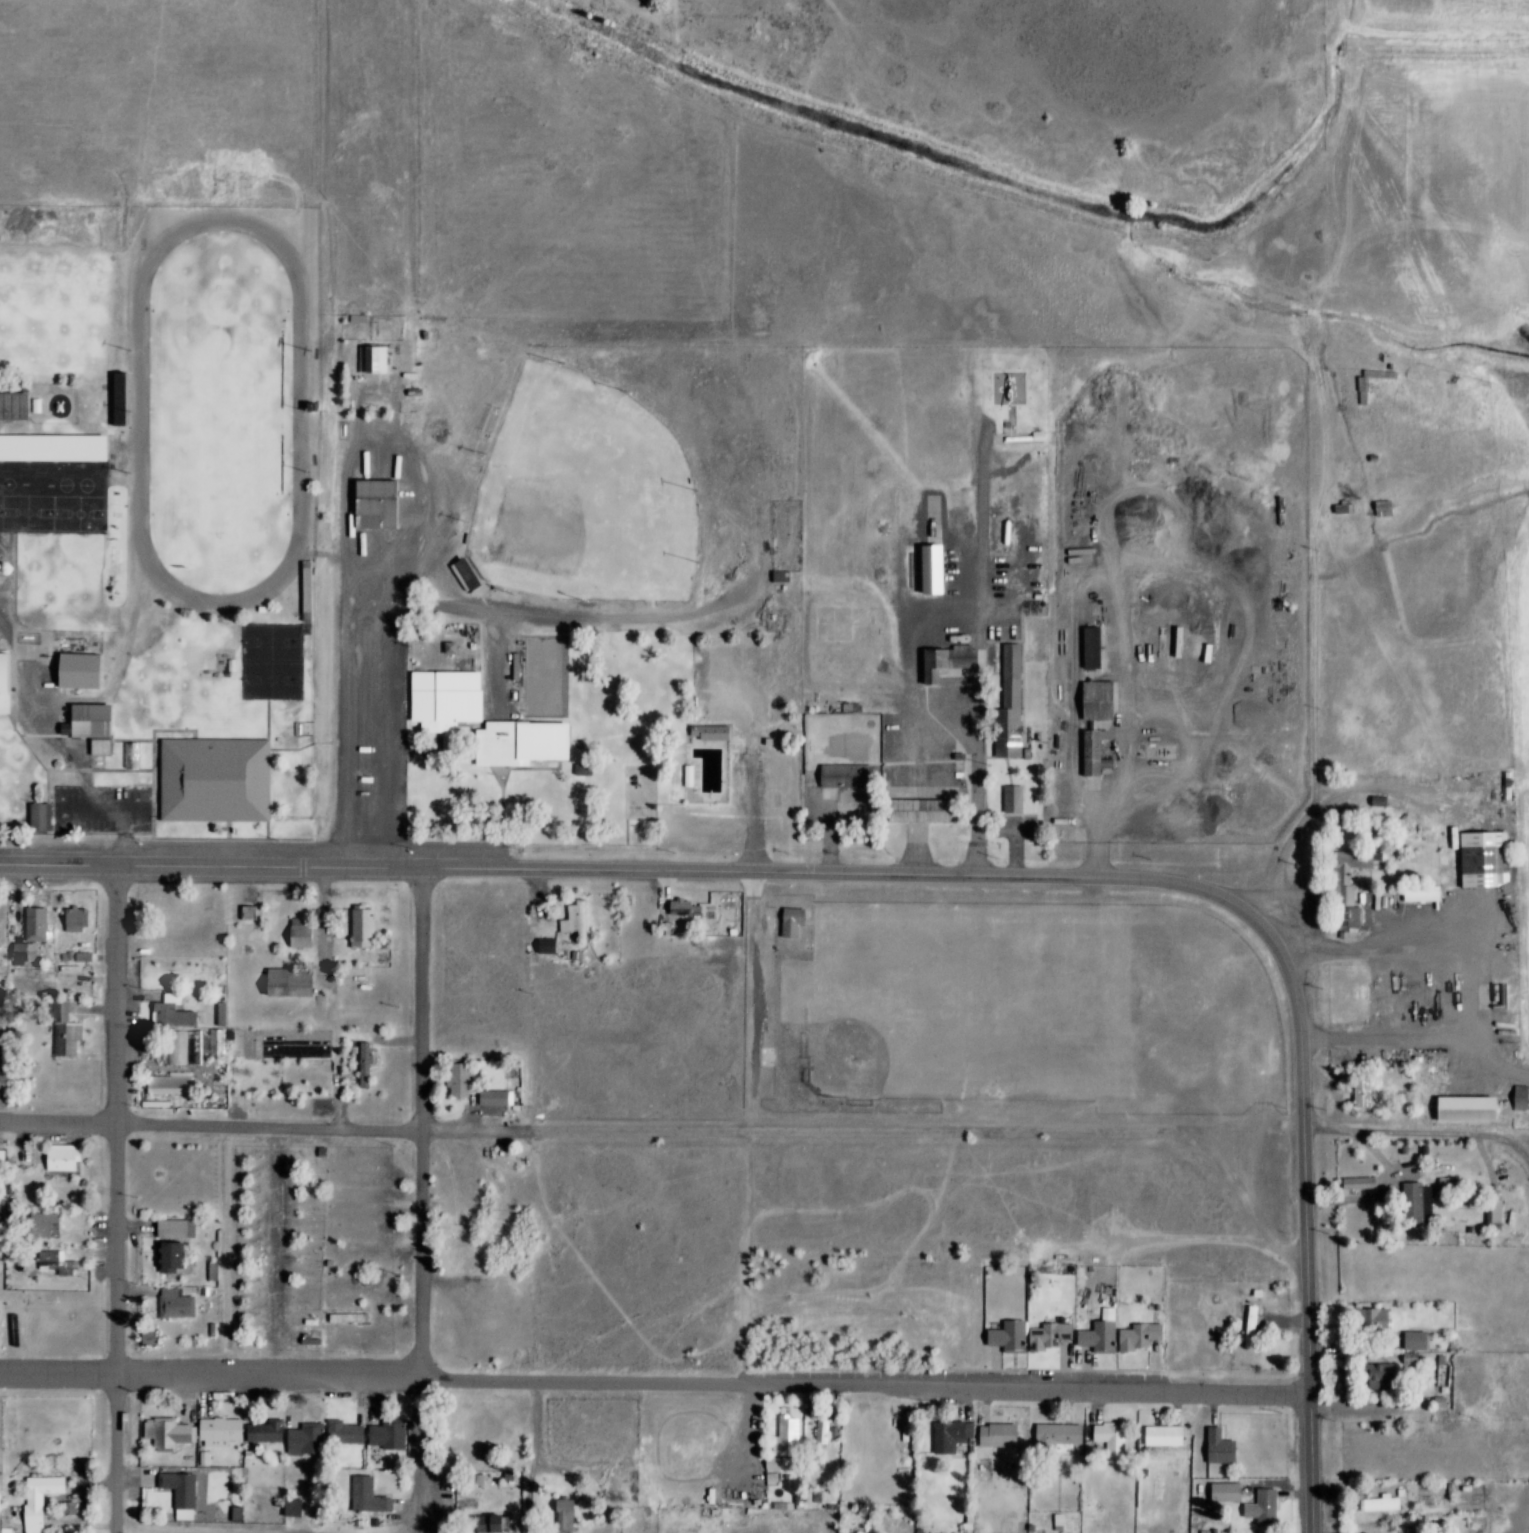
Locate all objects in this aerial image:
crop: (1442, 194)
building: (370, 318)
building: (383, 358)
helipad: (1020, 388)
building: (1362, 392)
building: (1374, 392)
building: (130, 399)
building: (117, 400)
building: (19, 406)
building: (47, 406)
park: (234, 411)
track: (234, 412)
road: (19, 420)
building: (1037, 438)
building: (134, 442)
building: (58, 448)
park: (619, 457)
building: (1385, 458)
park: (598, 497)
building: (384, 504)
building: (1395, 506)
building: (1354, 508)
park: (40, 512)
park: (92, 513)
building: (1, 562)
road: (1327, 565)
building: (928, 570)
building: (942, 570)
building: (475, 573)
building: (463, 574)
building: (790, 575)
building: (779, 577)
building: (316, 590)
road: (560, 615)
helipad: (838, 625)
park: (284, 644)
building: (1100, 646)
building: (1088, 648)
road: (995, 650)
building: (959, 664)
road: (130, 666)
building: (91, 670)
park: (557, 675)
park: (284, 682)
road: (1138, 682)
building: (10, 684)
building: (453, 699)
road: (46, 701)
road: (25, 704)
building: (1019, 705)
building: (1007, 706)
road: (374, 718)
building: (1107, 721)
building: (103, 725)
building: (708, 733)
road: (101, 737)
building: (528, 743)
road: (326, 744)
building: (1092, 754)
building: (143, 755)
road: (492, 758)
road: (114, 770)
road: (767, 773)
building: (857, 775)
building: (698, 776)
building: (223, 780)
building: (1389, 798)
building: (1011, 800)
building: (1024, 800)
building: (929, 811)
building: (51, 817)
building: (37, 818)
road: (129, 819)
road: (1312, 826)
building: (1355, 833)
building: (1494, 858)
road: (631, 869)
building: (1359, 870)
road: (1270, 891)
building: (1430, 895)
building: (689, 905)
building: (261, 912)
building: (246, 913)
building: (1355, 917)
building: (23, 918)
building: (74, 918)
building: (87, 918)
building: (585, 918)
building: (573, 920)
building: (801, 921)
road: (337, 922)
building: (789, 922)
building: (45, 926)
building: (370, 929)
building: (311, 932)
building: (743, 932)
building: (298, 933)
building: (97, 944)
building: (556, 944)
building: (91, 945)
building: (543, 947)
building: (29, 953)
building: (80, 956)
road: (1488, 976)
building: (299, 982)
park: (1358, 993)
road: (434, 997)
building: (181, 998)
park: (970, 1005)
building: (230, 1014)
building: (182, 1017)
building: (62, 1029)
building: (74, 1032)
building: (226, 1042)
building: (176, 1048)
building: (185, 1048)
road: (1501, 1060)
building: (373, 1062)
building: (363, 1064)
road: (168, 1067)
building: (6, 1079)
building: (468, 1081)
building: (174, 1085)
road: (1341, 1085)
building: (1370, 1091)
building: (504, 1098)
building: (1518, 1098)
building: (164, 1104)
building: (1476, 1109)
road: (217, 1122)
road: (762, 1127)
road: (1419, 1127)
road: (906, 1132)
building: (331, 1152)
building: (72, 1158)
road: (1456, 1162)
road: (1500, 1172)
building: (1367, 1182)
road: (1394, 1193)
road: (125, 1198)
building: (1424, 1202)
building: (1504, 1211)
building: (1492, 1212)
road: (1309, 1218)
building: (40, 1224)
building: (183, 1228)
road: (239, 1250)
road: (285, 1251)
building: (178, 1256)
building: (66, 1260)
building: (1266, 1292)
building: (185, 1303)
building: (3, 1309)
building: (359, 1317)
road: (431, 1317)
building: (1252, 1320)
building: (1378, 1320)
building: (320, 1321)
building: (1259, 1327)
building: (223, 1330)
building: (1014, 1335)
building: (1058, 1335)
building: (1107, 1335)
building: (146, 1337)
building: (158, 1337)
building: (1148, 1337)
building: (1423, 1338)
building: (320, 1339)
building: (1413, 1340)
building: (1385, 1376)
road: (658, 1382)
building: (1449, 1401)
road: (1374, 1411)
building: (277, 1430)
building: (799, 1430)
building: (351, 1431)
building: (830, 1431)
building: (229, 1432)
building: (178, 1433)
building: (397, 1433)
building: (1118, 1433)
building: (820, 1434)
building: (1068, 1434)
building: (959, 1435)
building: (1172, 1435)
building: (314, 1436)
building: (1007, 1436)
building: (1228, 1445)
building: (785, 1451)
road: (549, 1454)
building: (214, 1458)
building: (771, 1465)
building: (781, 1466)
building: (189, 1486)
building: (1169, 1489)
building: (1234, 1492)
building: (177, 1493)
building: (377, 1494)
road: (542, 1495)
building: (48, 1500)
building: (1393, 1502)
building: (1272, 1506)
building: (79, 1507)
building: (290, 1507)
building: (304, 1507)
building: (1260, 1507)
building: (246, 1513)
building: (573, 1514)
building: (562, 1516)
building: (1067, 1518)
building: (497, 1522)
building: (978, 1522)
road: (416, 1524)
building: (484, 1524)
building: (16, 1530)
building: (929, 1530)
building: (1224, 1530)
building: (1217, 1531)
road: (165, 1532)

